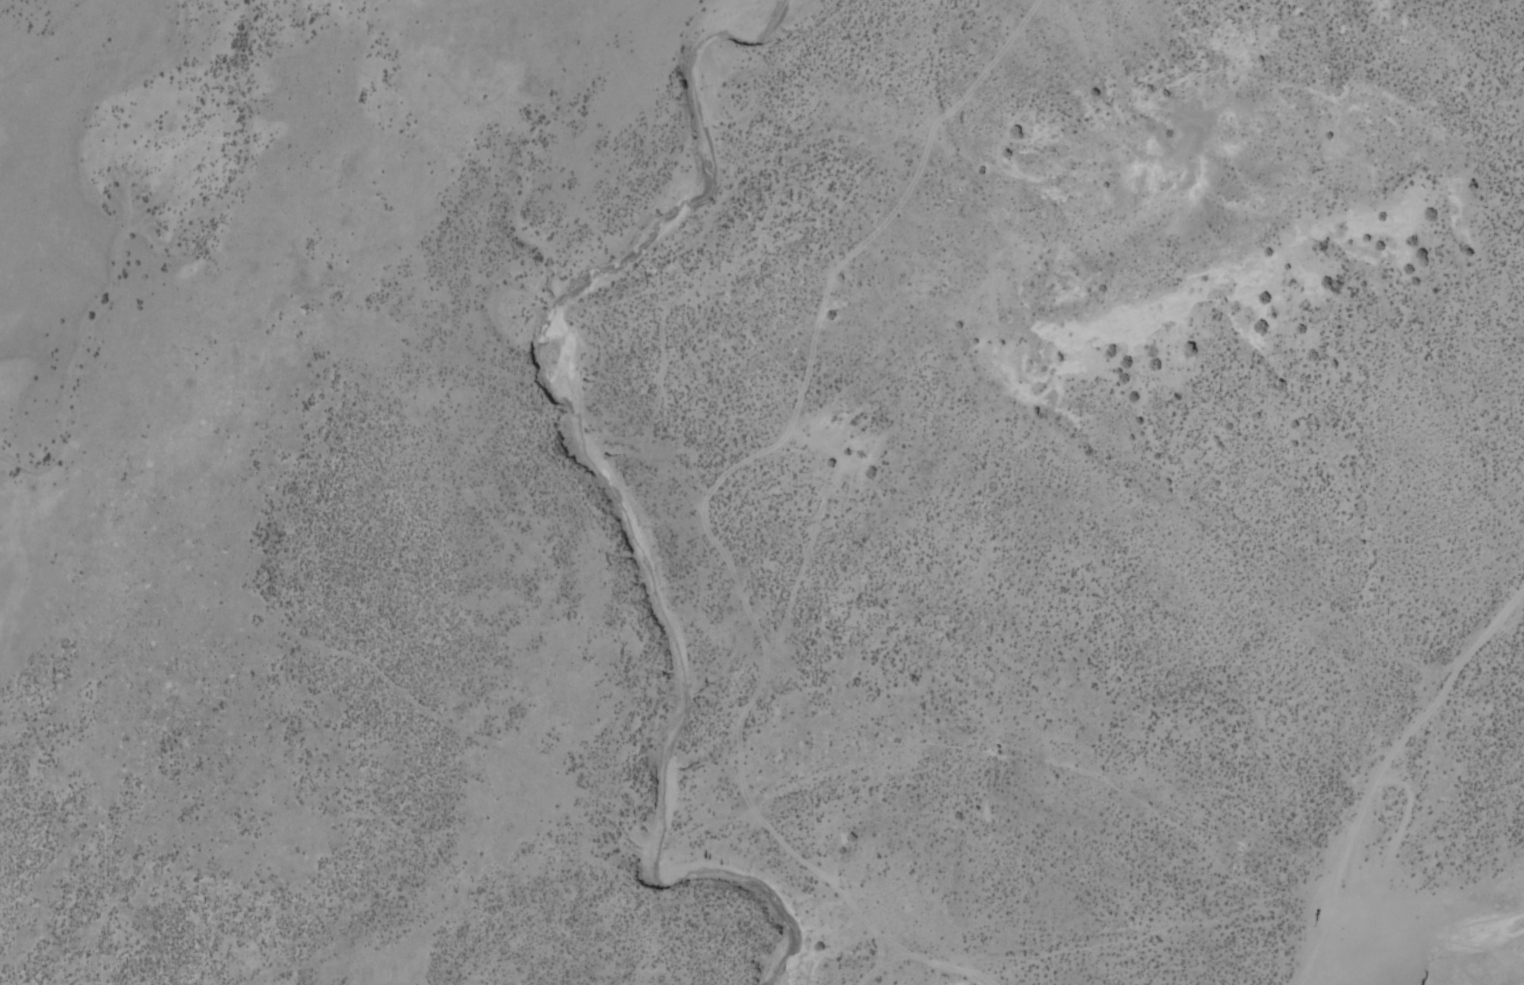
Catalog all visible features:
road: (488, 720)
road: (1445, 961)

